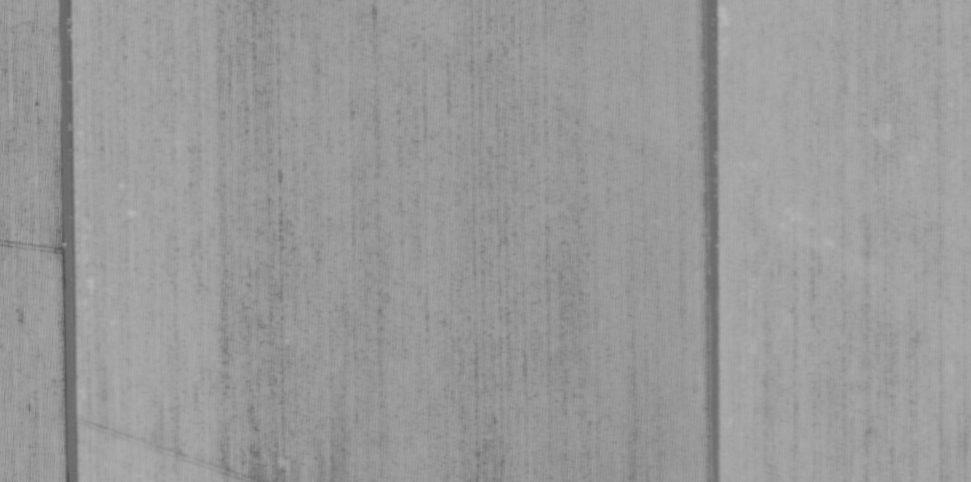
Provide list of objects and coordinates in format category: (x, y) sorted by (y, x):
crop: (485, 241)

